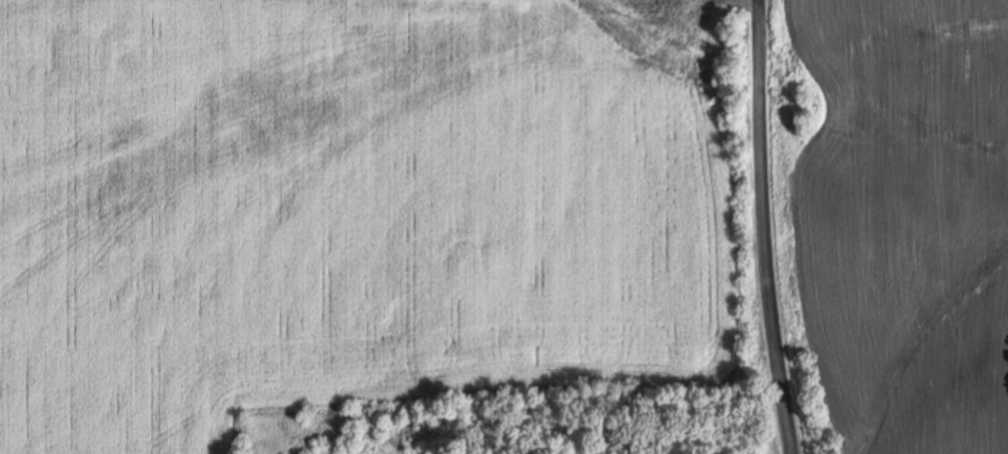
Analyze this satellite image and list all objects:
road: (762, 227)

